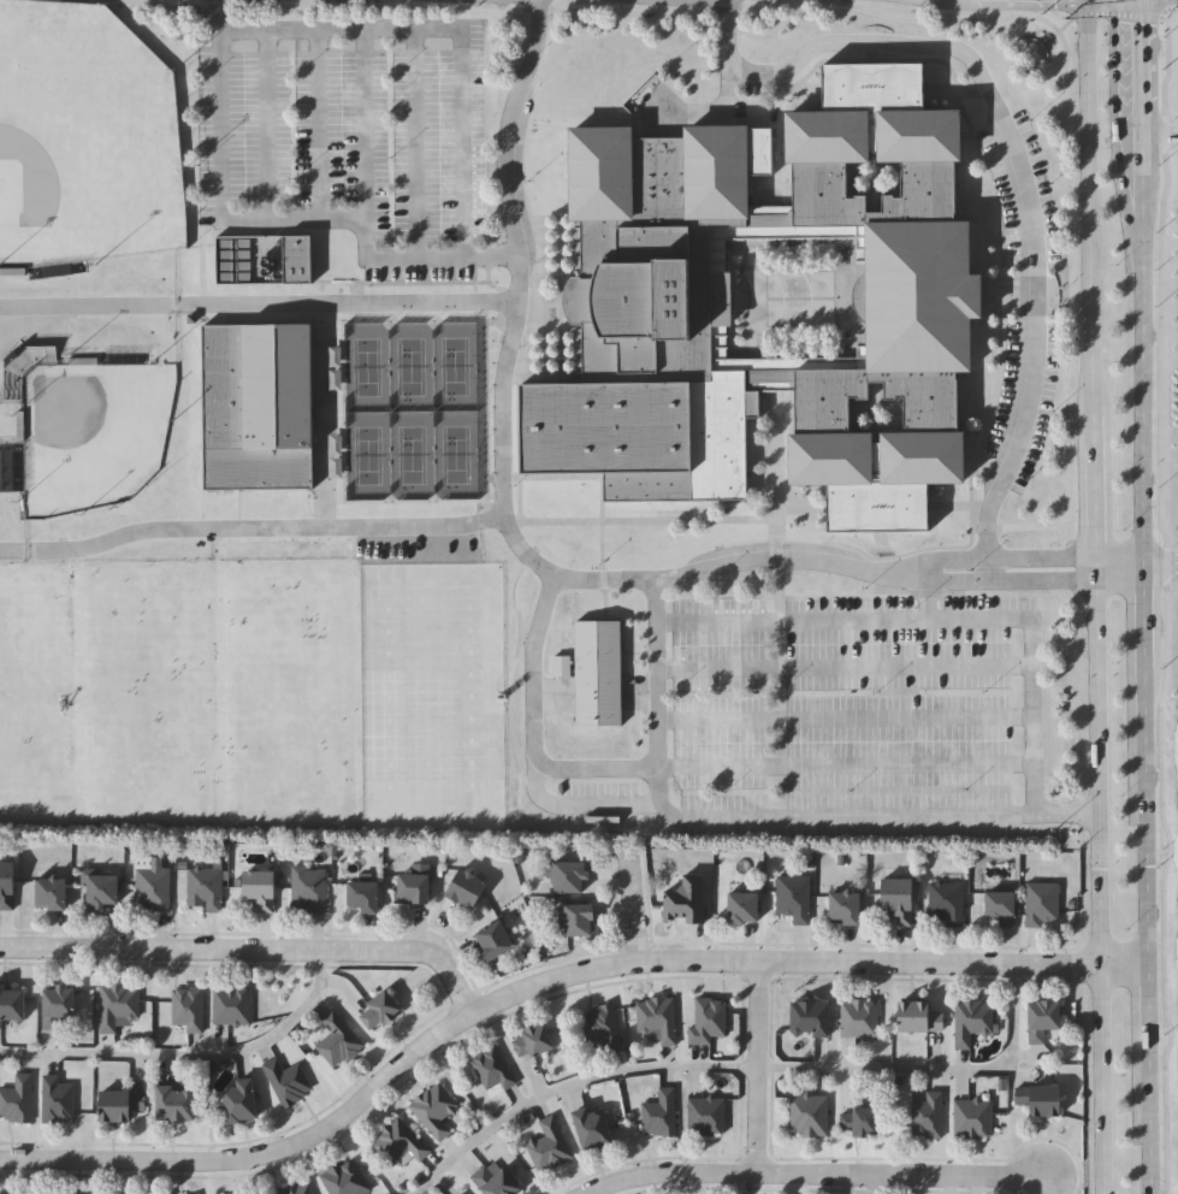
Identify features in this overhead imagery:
road: (1072, 8)
road: (1162, 10)
road: (1118, 14)
road: (1171, 19)
road: (445, 32)
building: (578, 72)
building: (603, 72)
road: (1142, 122)
road: (1160, 131)
park: (82, 137)
road: (507, 149)
road: (1022, 161)
road: (273, 219)
building: (260, 260)
building: (644, 297)
road: (260, 306)
building: (23, 373)
building: (256, 406)
road: (1144, 406)
road: (504, 408)
park: (89, 433)
road: (251, 530)
road: (1067, 558)
road: (949, 560)
road: (787, 561)
road: (1161, 567)
road: (1120, 574)
road: (566, 578)
road: (1042, 583)
road: (953, 584)
road: (1096, 596)
road: (791, 622)
road: (1146, 660)
building: (596, 674)
road: (1028, 678)
park: (288, 693)
park: (147, 694)
park: (427, 696)
road: (597, 769)
road: (825, 814)
road: (1146, 857)
building: (566, 876)
building: (10, 886)
building: (152, 886)
building: (205, 887)
building: (410, 887)
building: (462, 887)
building: (257, 889)
building: (97, 891)
building: (307, 891)
building: (52, 893)
building: (360, 895)
building: (792, 898)
building: (896, 899)
building: (682, 900)
road: (626, 904)
building: (946, 904)
building: (1042, 904)
building: (999, 906)
building: (842, 908)
building: (740, 909)
building: (576, 920)
building: (491, 940)
road: (245, 944)
road: (546, 973)
building: (13, 1005)
building: (60, 1005)
building: (231, 1005)
building: (118, 1009)
building: (187, 1010)
building: (378, 1010)
building: (916, 1017)
building: (657, 1018)
building: (807, 1018)
building: (859, 1018)
building: (1041, 1018)
building: (709, 1021)
building: (971, 1021)
road: (1147, 1023)
building: (602, 1027)
building: (337, 1040)
building: (532, 1041)
road: (191, 1053)
road: (757, 1064)
road: (931, 1066)
building: (492, 1070)
building: (288, 1081)
road: (567, 1082)
building: (59, 1099)
building: (18, 1100)
building: (1037, 1100)
building: (238, 1101)
building: (117, 1104)
building: (173, 1104)
building: (434, 1110)
building: (927, 1113)
building: (659, 1115)
building: (706, 1116)
building: (809, 1116)
building: (972, 1119)
building: (860, 1122)
building: (590, 1129)
road: (1148, 1139)
building: (398, 1142)
building: (549, 1146)
road: (812, 1172)
building: (344, 1178)
building: (492, 1180)
building: (296, 1189)
building: (461, 1193)

